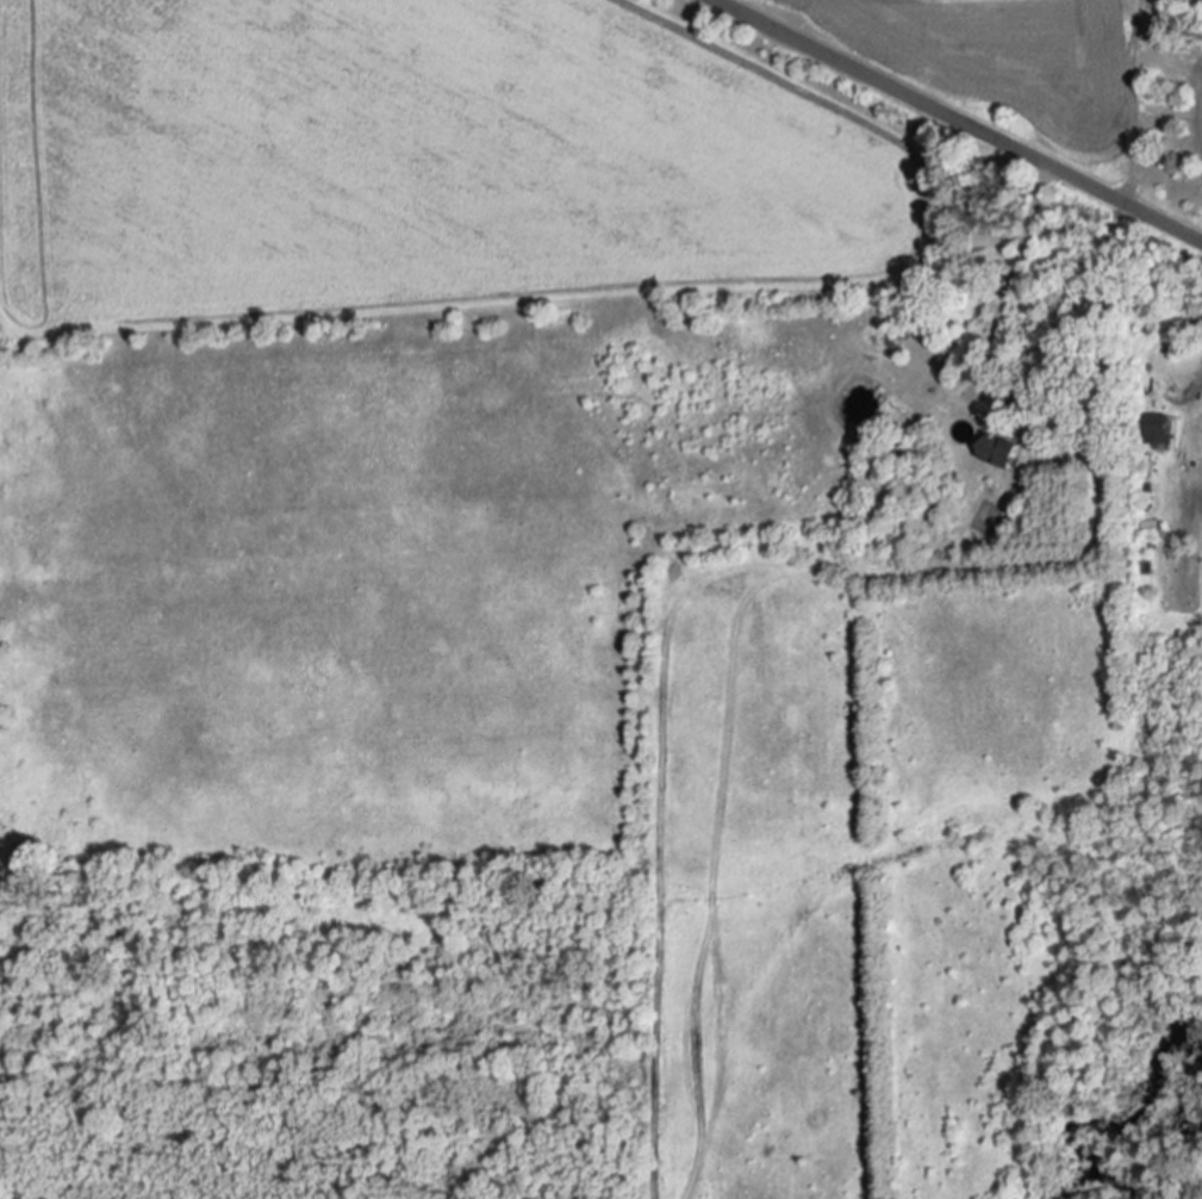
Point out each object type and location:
road: (952, 124)
building: (1001, 451)
building: (1151, 529)
river: (1136, 1118)

